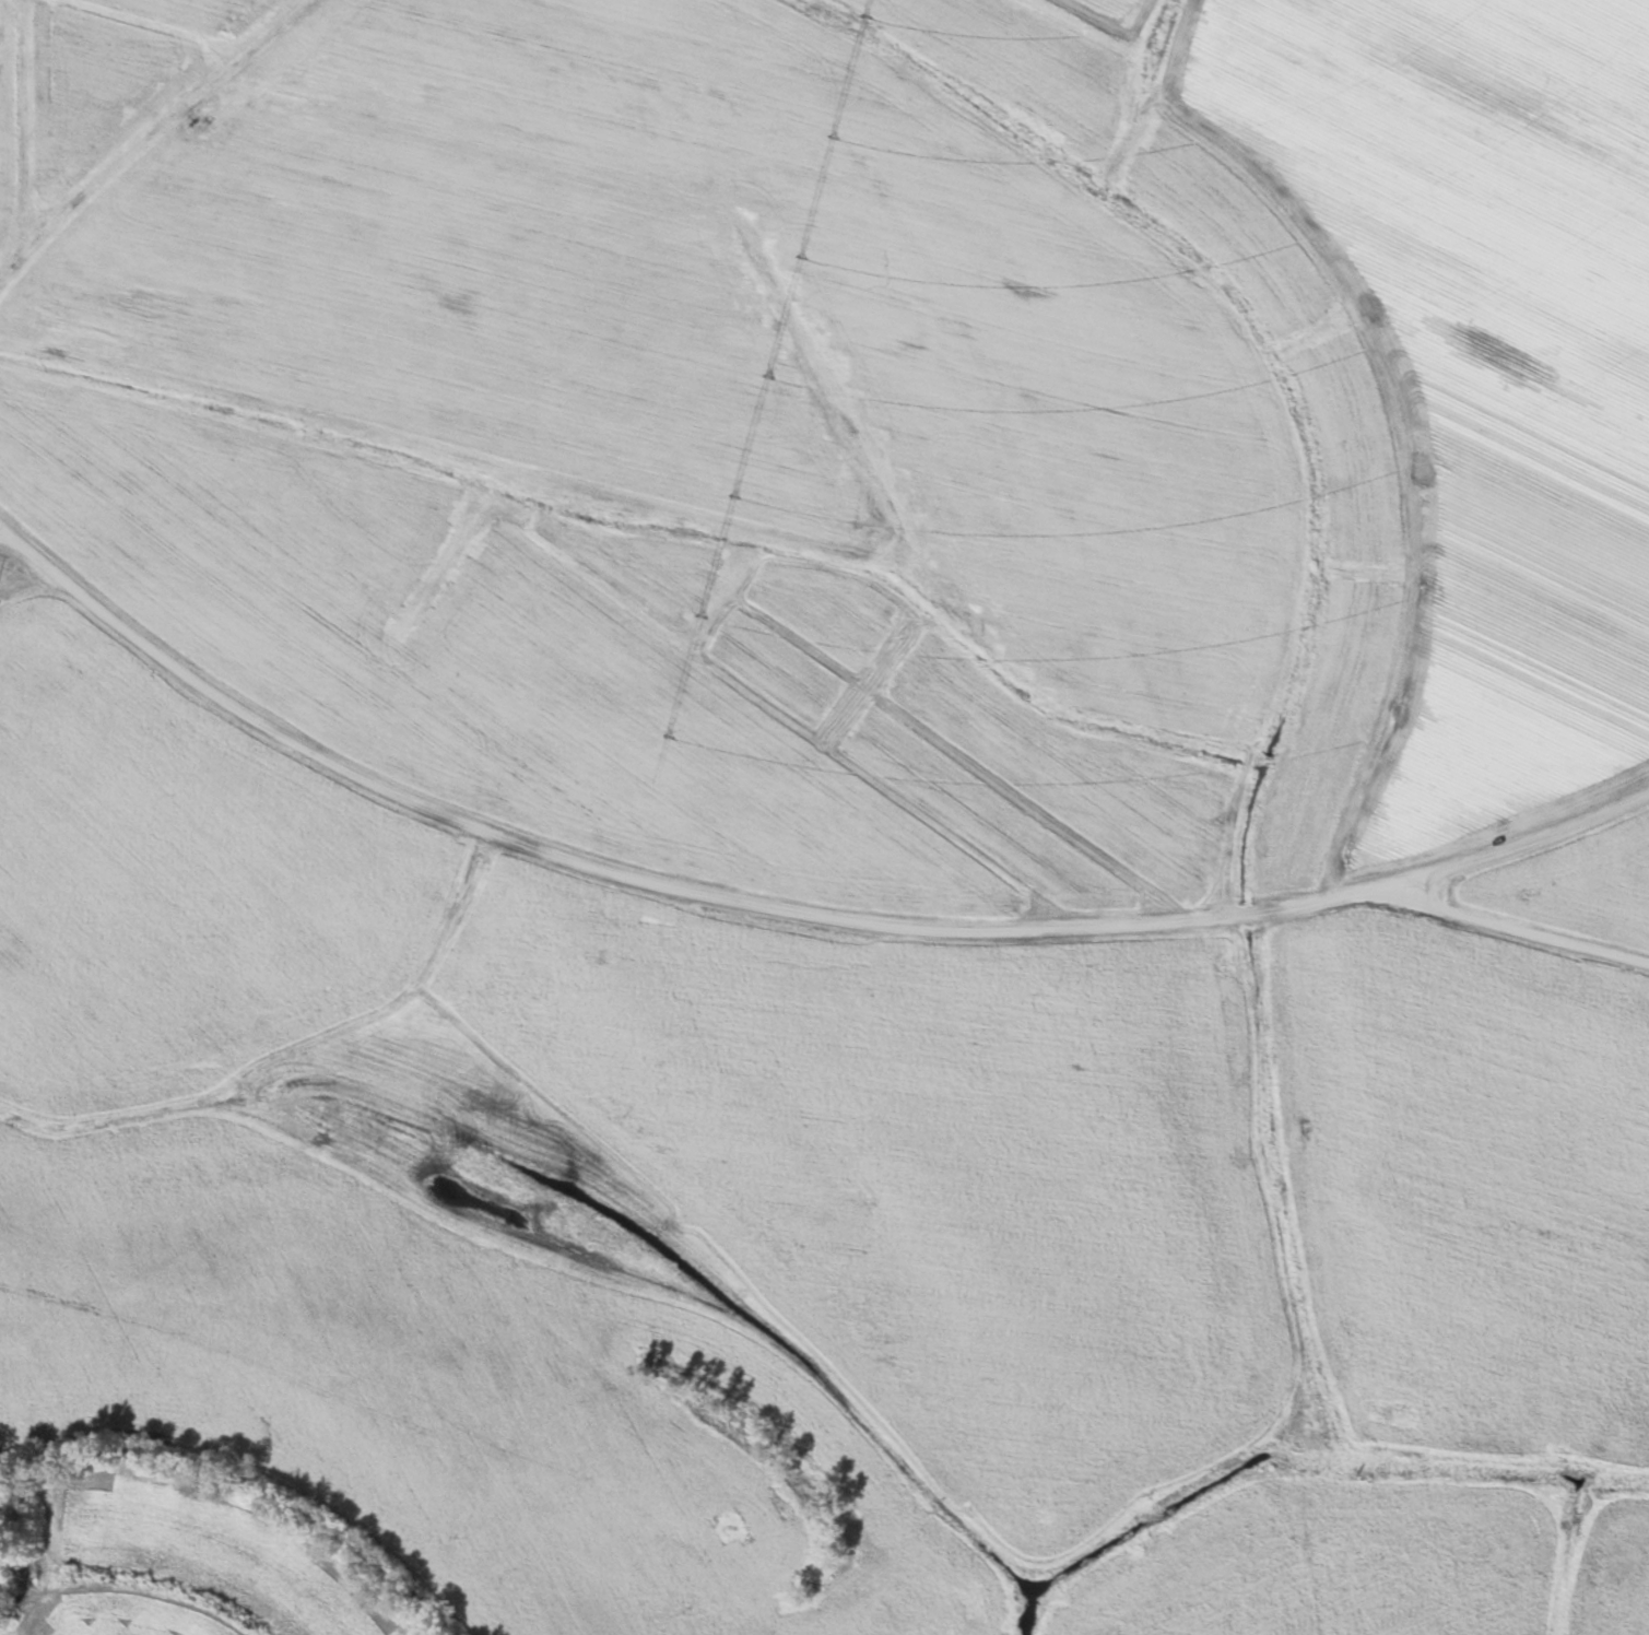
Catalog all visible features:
road: (23, 179)
road: (818, 792)

